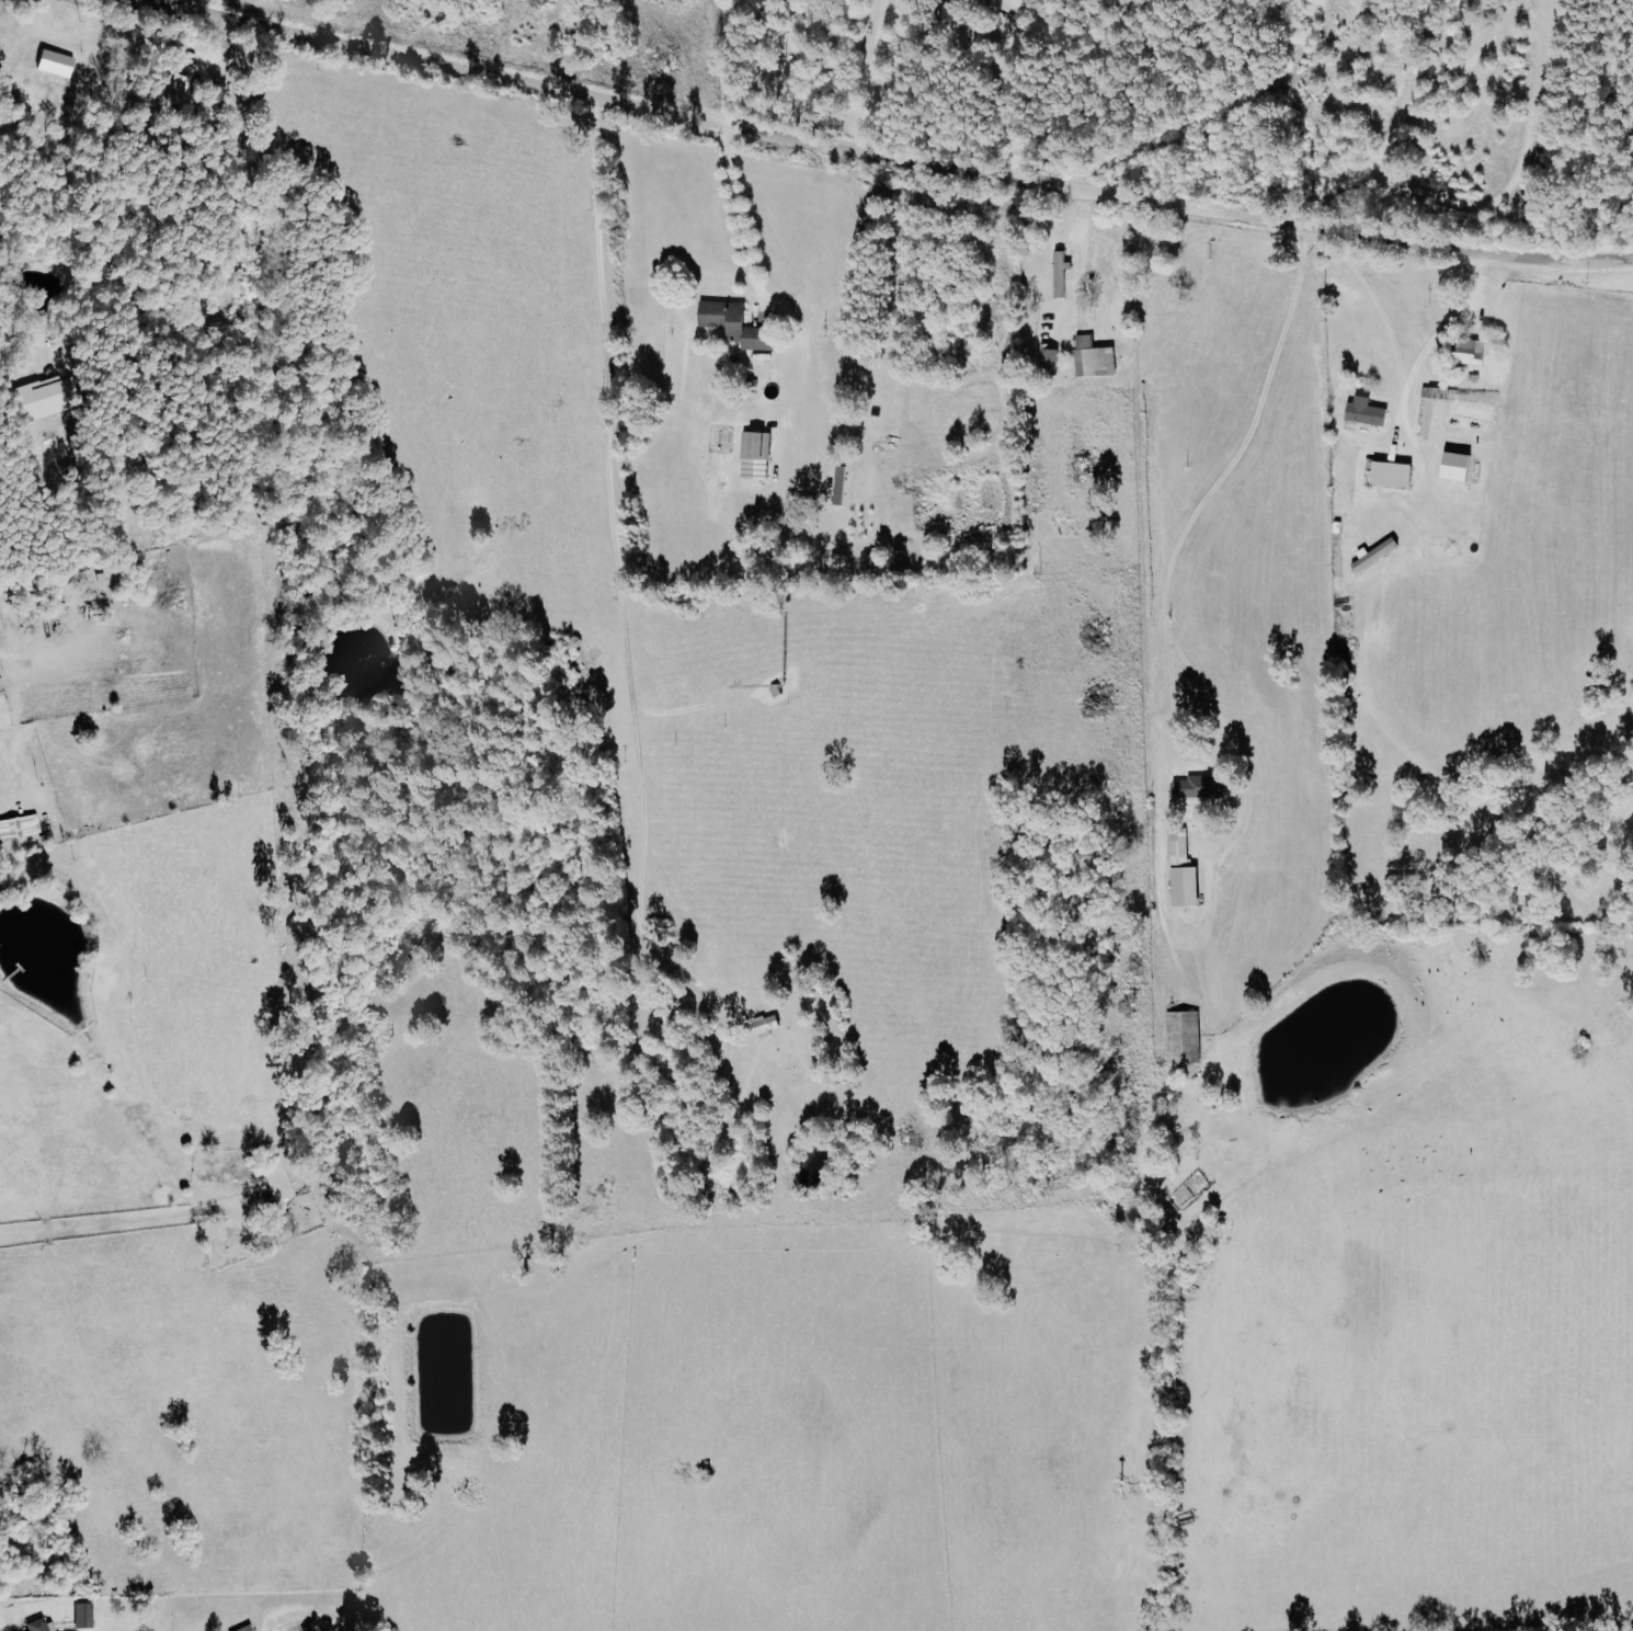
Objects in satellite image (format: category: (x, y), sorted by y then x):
road: (47, 11)
building: (55, 64)
building: (179, 90)
road: (1005, 127)
road: (884, 158)
road: (738, 210)
road: (1082, 253)
building: (1061, 274)
road: (1379, 308)
building: (734, 324)
building: (1471, 352)
building: (1094, 357)
building: (1049, 361)
road: (1412, 383)
building: (1367, 412)
building: (755, 455)
building: (1458, 468)
building: (1393, 471)
building: (840, 484)
building: (1374, 554)
road: (1169, 557)
building: (1197, 787)
building: (19, 826)
building: (1183, 870)
building: (767, 1026)
building: (1184, 1037)
building: (83, 1616)
building: (36, 1626)

